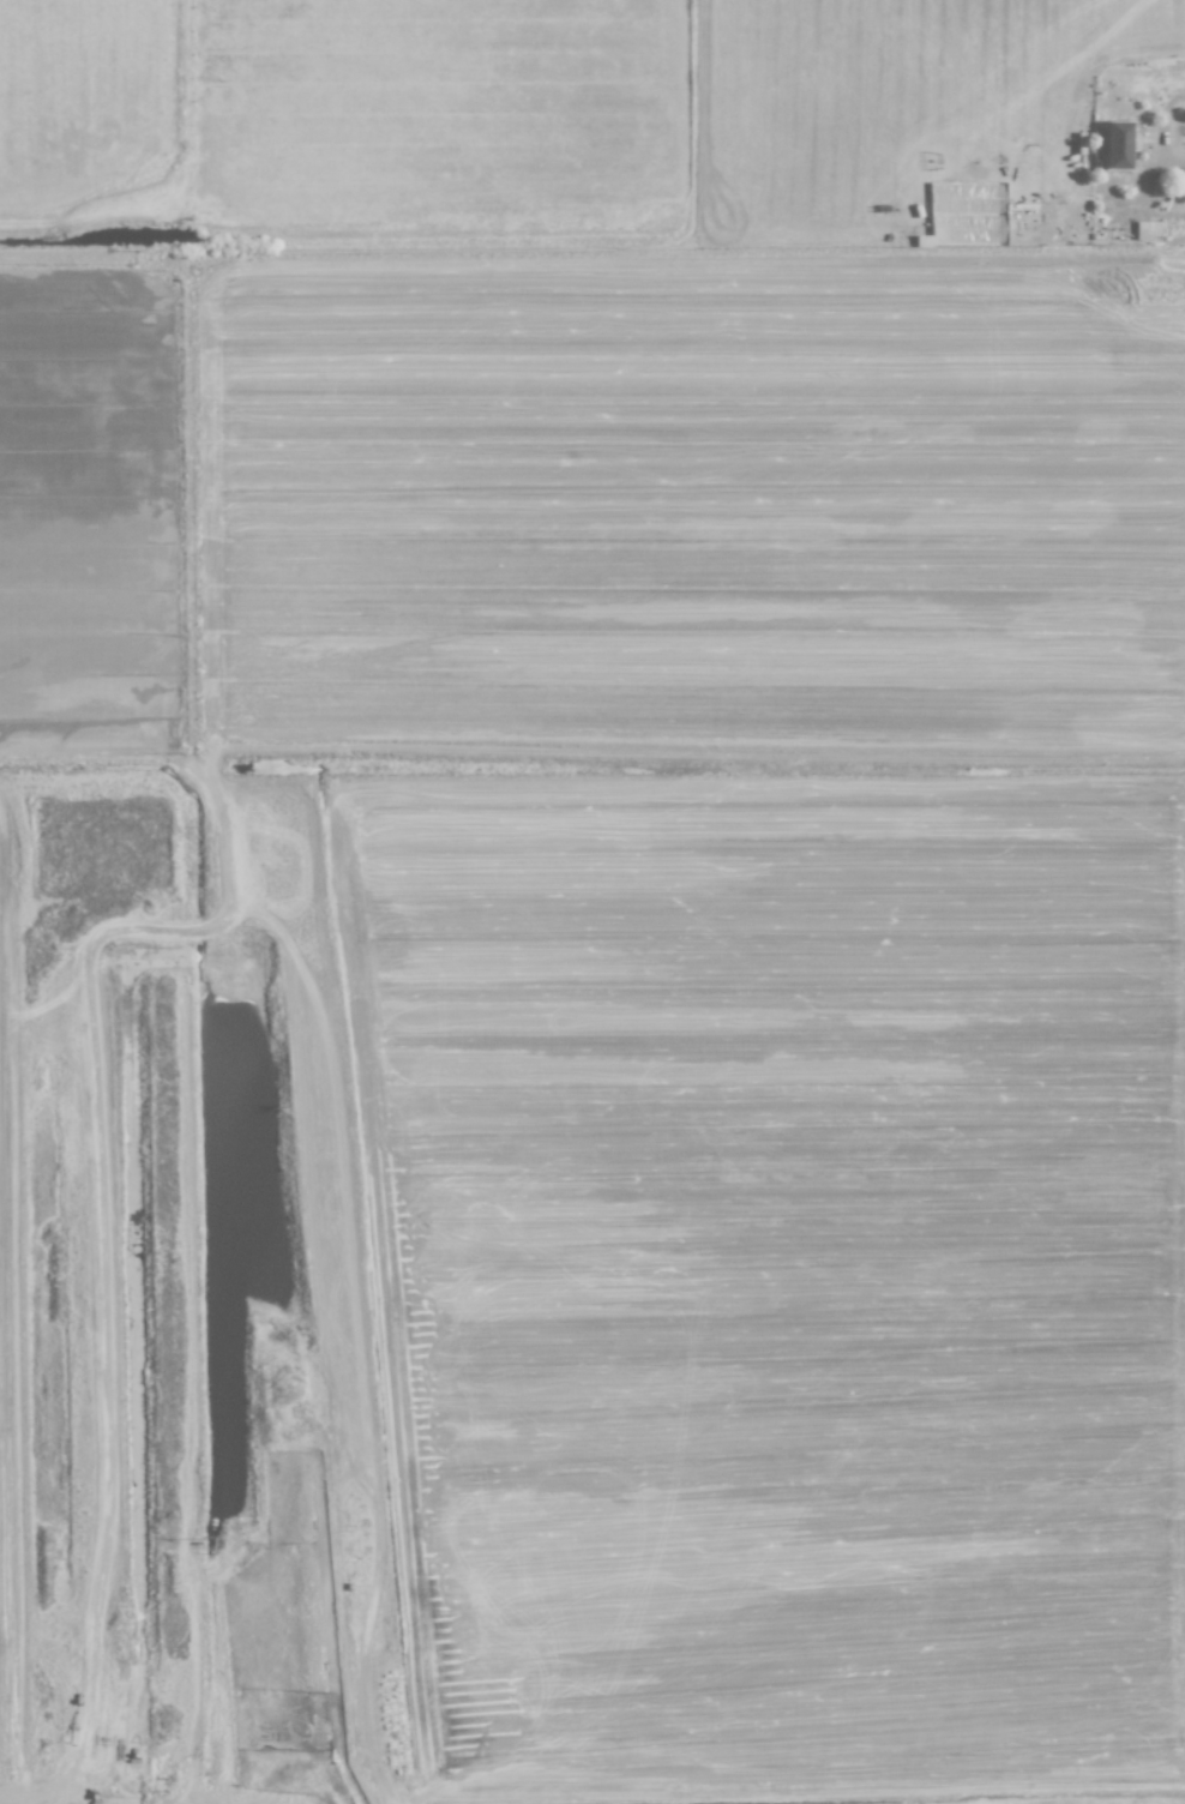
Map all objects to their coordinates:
road: (1163, 131)
building: (1109, 144)
road: (24, 1793)

